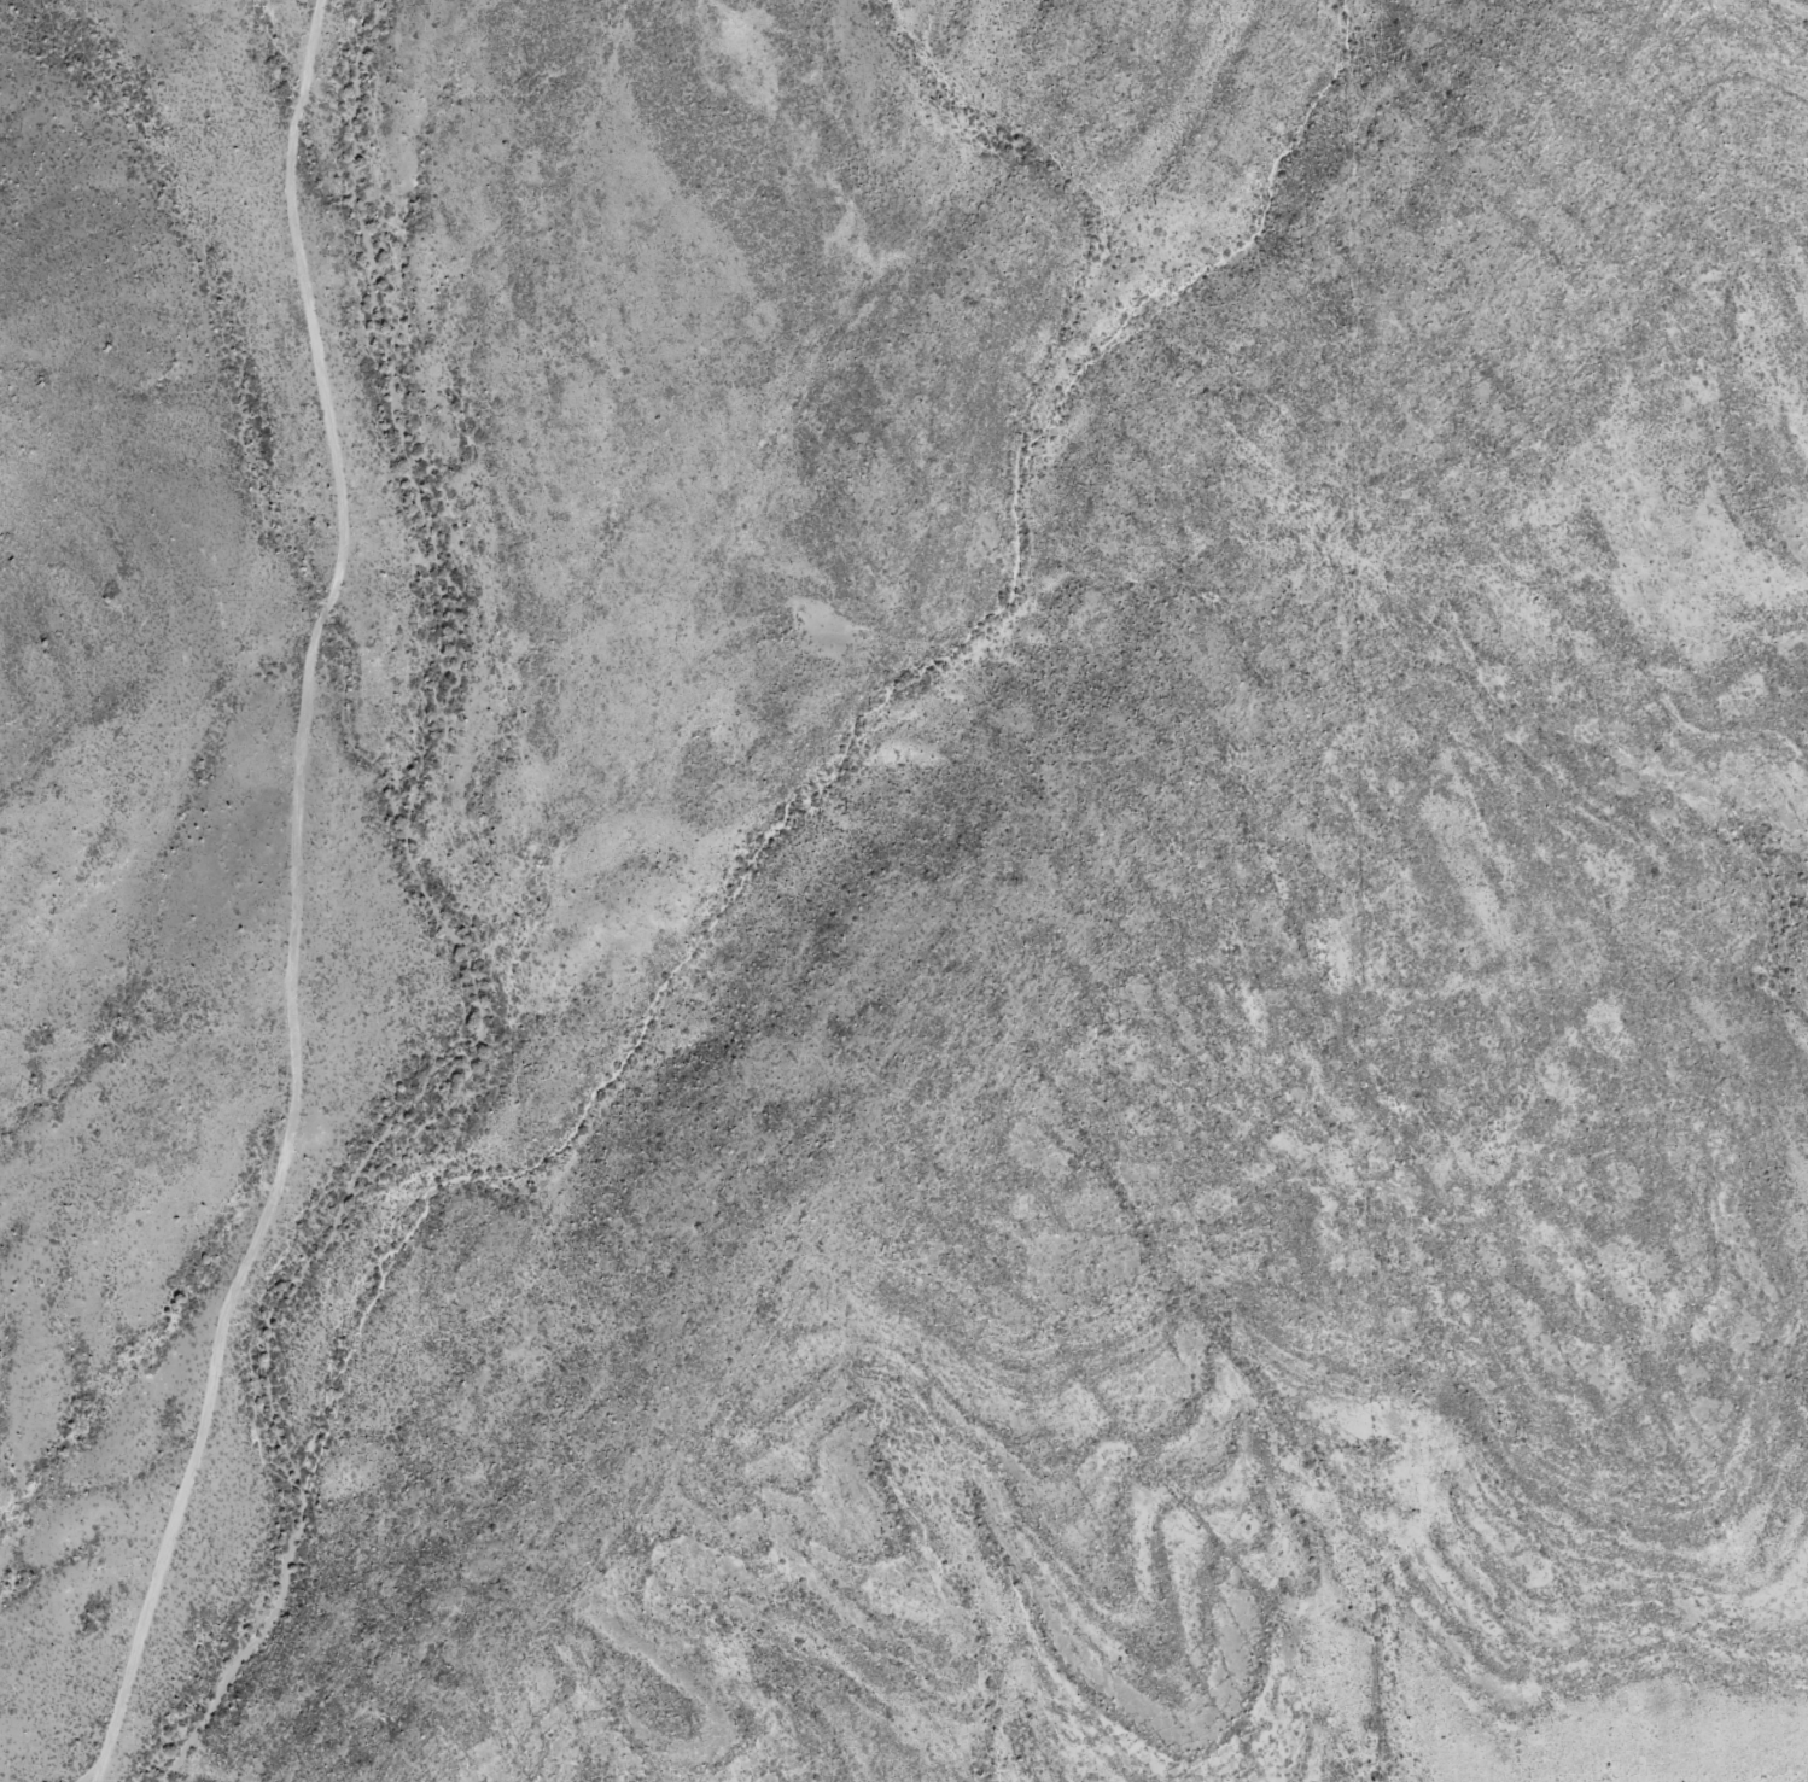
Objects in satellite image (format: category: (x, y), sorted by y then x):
road: (327, 904)

